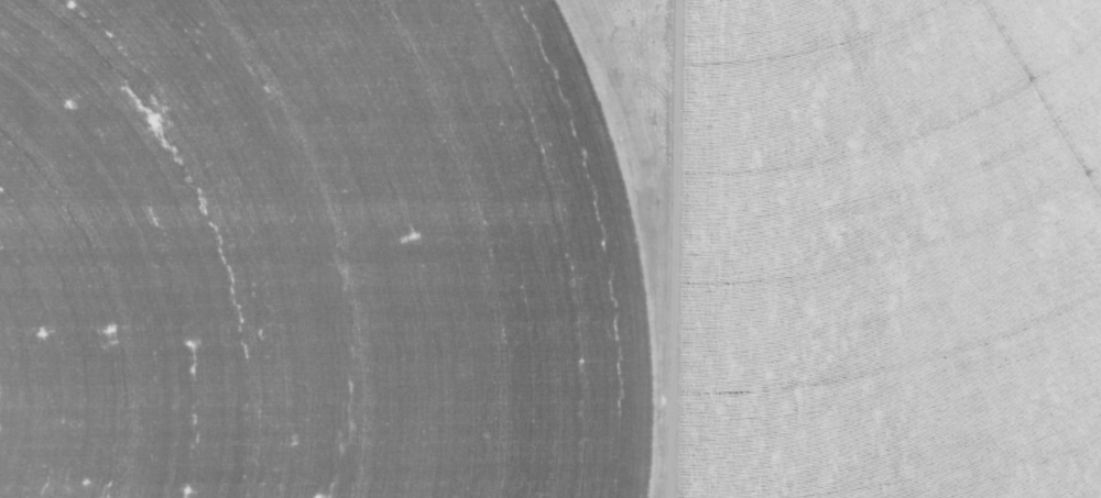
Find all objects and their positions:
road: (663, 248)

